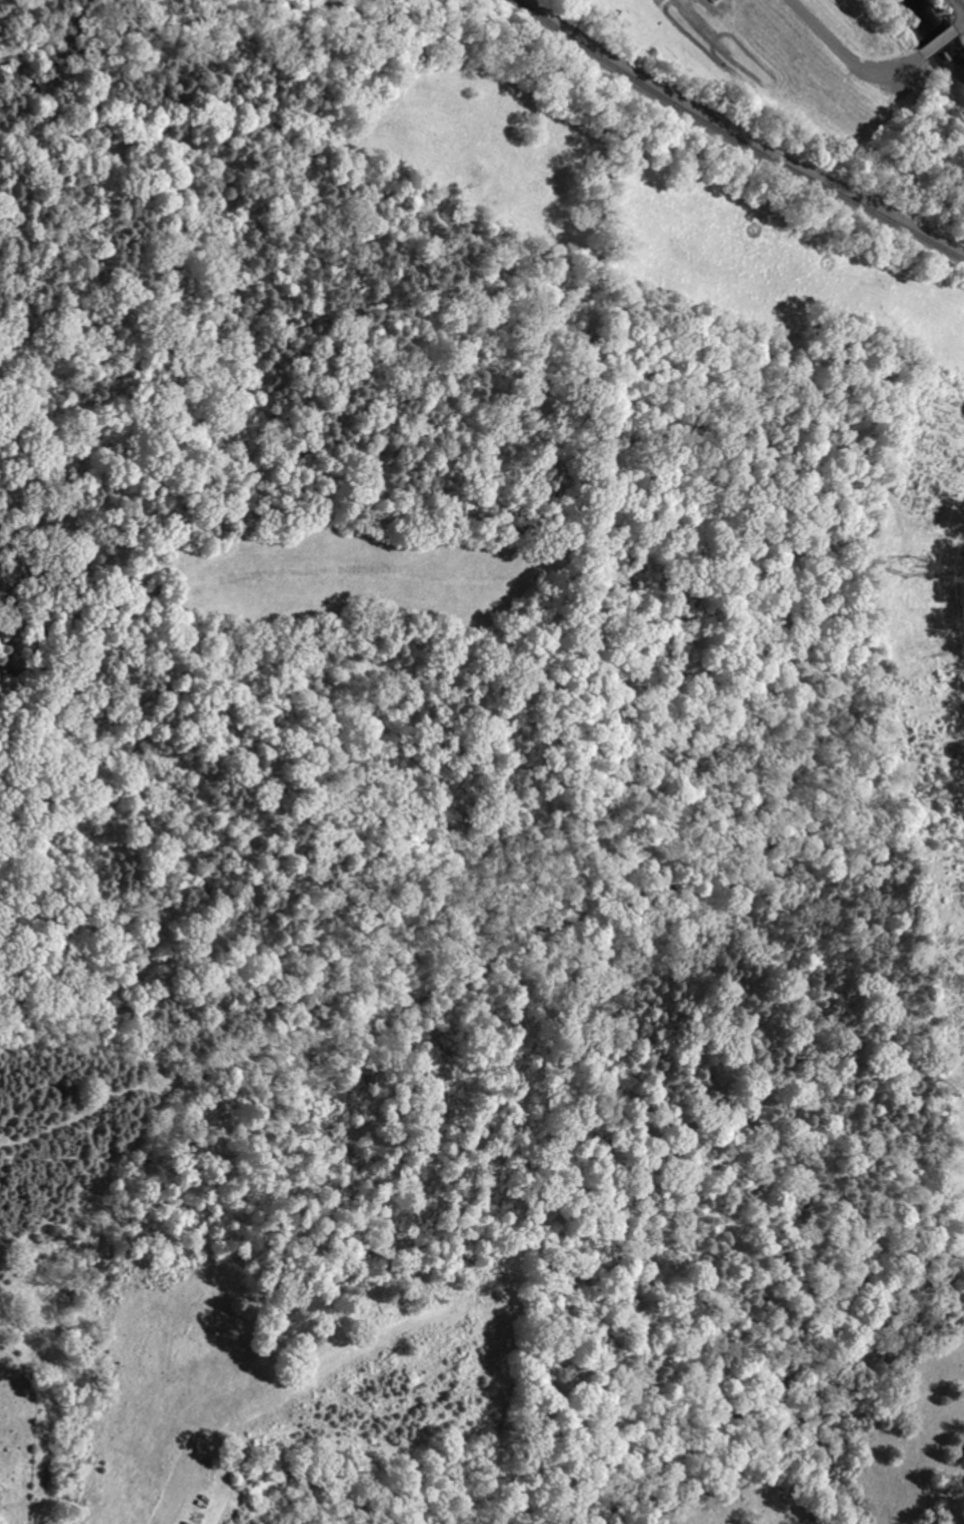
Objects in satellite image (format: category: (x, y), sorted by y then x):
road: (869, 74)
railway: (737, 136)
power tower: (911, 569)
building: (233, 1518)

